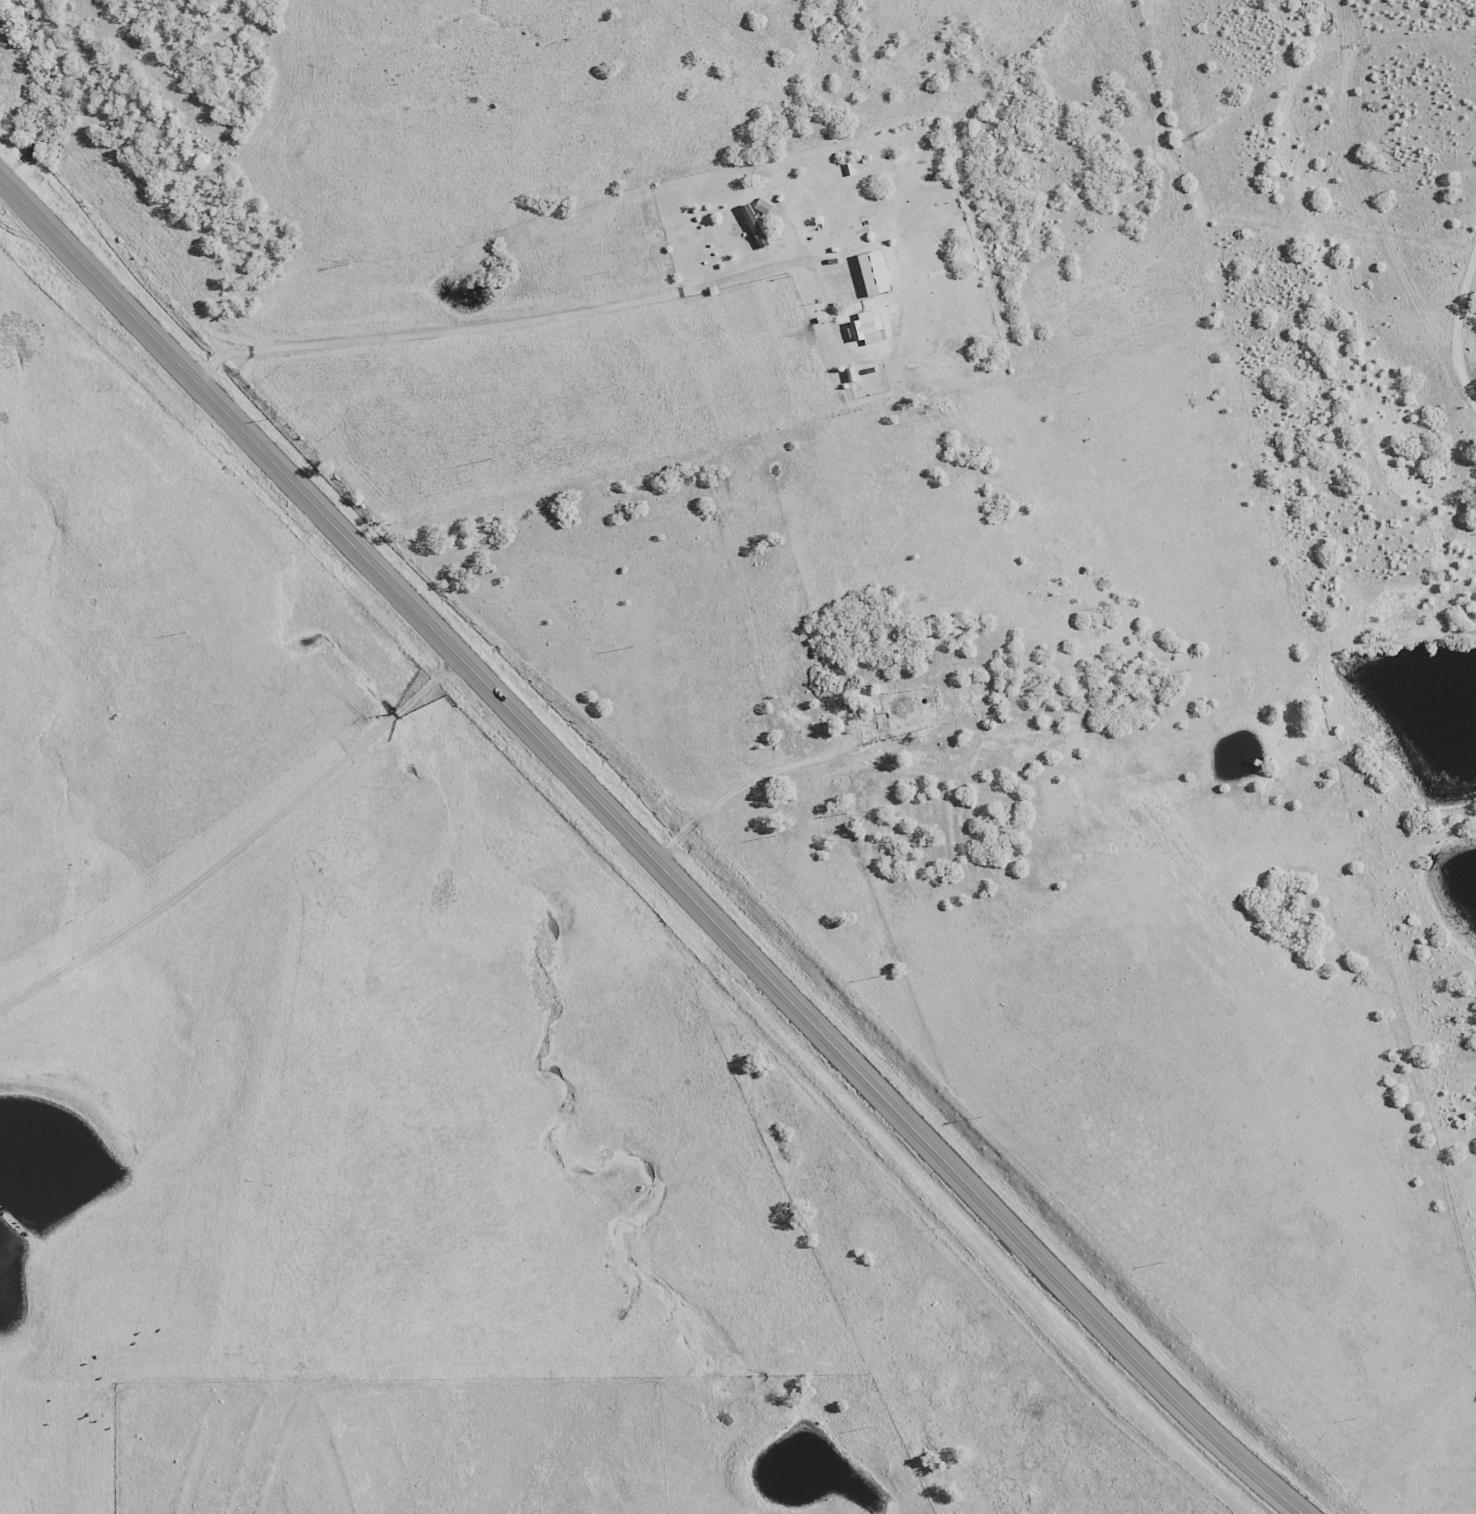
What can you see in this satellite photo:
building: (762, 207)
building: (873, 274)
building: (866, 328)
road: (636, 851)
road: (253, 889)

